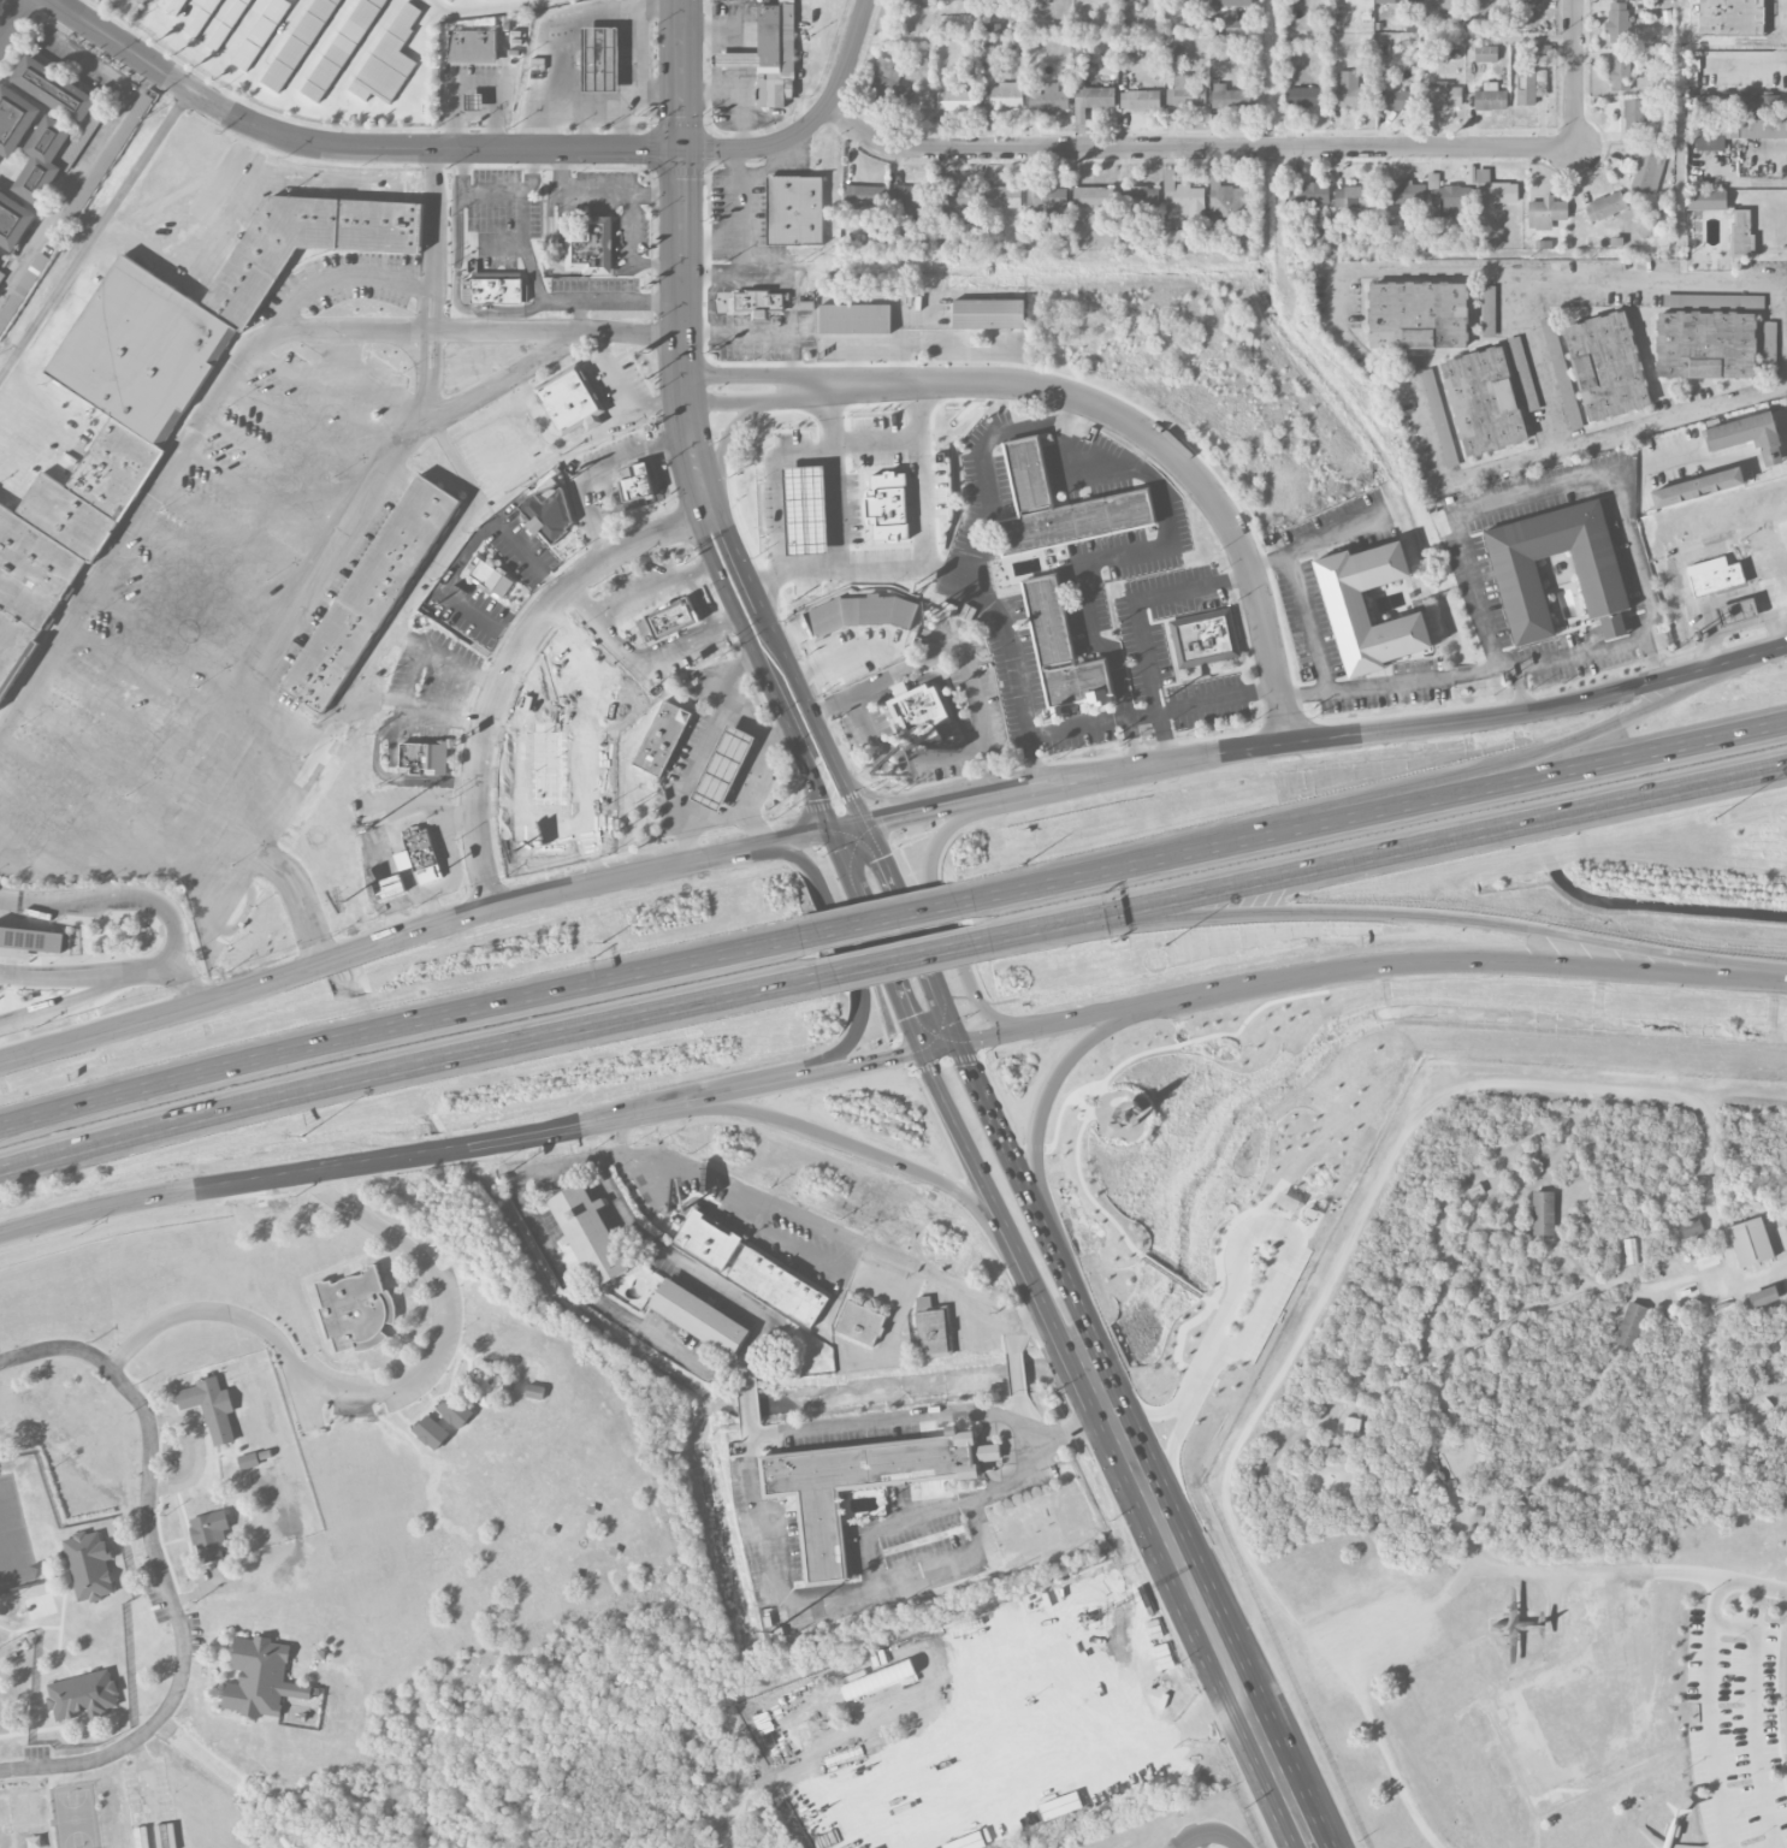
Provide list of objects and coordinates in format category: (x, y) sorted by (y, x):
building: (449, 0)
building: (942, 0)
building: (1395, 1)
building: (1531, 1)
building: (1231, 2)
building: (921, 4)
building: (178, 7)
road: (485, 7)
road: (154, 14)
building: (1732, 17)
building: (203, 18)
road: (13, 20)
building: (1617, 23)
building: (229, 25)
road: (61, 26)
building: (260, 34)
road: (138, 41)
building: (300, 45)
road: (575, 45)
building: (473, 46)
building: (342, 48)
building: (1174, 52)
building: (1486, 54)
building: (769, 55)
road: (426, 58)
road: (627, 58)
building: (600, 59)
building: (389, 60)
building: (1620, 71)
road: (681, 75)
road: (1574, 75)
building: (890, 84)
road: (478, 85)
building: (1527, 87)
building: (1350, 91)
building: (1185, 94)
building: (1442, 95)
building: (1002, 96)
building: (1304, 97)
building: (1490, 97)
building: (1230, 99)
building: (957, 100)
building: (1048, 100)
building: (1140, 100)
building: (1396, 100)
building: (474, 101)
building: (1091, 101)
road: (290, 103)
building: (1739, 105)
road: (627, 106)
building: (14, 119)
building: (1635, 119)
road: (810, 122)
road: (545, 124)
building: (52, 125)
road: (627, 128)
building: (1755, 129)
road: (103, 138)
building: (1710, 143)
road: (344, 146)
road: (1194, 149)
traffic signals: (681, 150)
road: (771, 166)
building: (1649, 171)
road: (1747, 185)
building: (1496, 190)
road: (471, 192)
building: (1404, 192)
building: (863, 195)
building: (1307, 195)
building: (960, 196)
building: (1093, 196)
building: (1005, 197)
building: (1051, 197)
building: (1138, 197)
building: (1355, 197)
building: (909, 199)
building: (1184, 200)
building: (1706, 200)
building: (1226, 202)
building: (1605, 207)
building: (793, 211)
building: (1546, 213)
building: (13, 221)
road: (734, 221)
road: (95, 233)
building: (1742, 235)
building: (1173, 237)
road: (201, 238)
road: (523, 243)
building: (591, 247)
building: (0, 254)
building: (0, 274)
road: (1786, 286)
building: (493, 290)
road: (615, 301)
building: (756, 302)
building: (1489, 312)
building: (986, 315)
building: (1418, 315)
building: (852, 320)
road: (474, 330)
building: (1709, 340)
road: (1539, 365)
building: (1606, 366)
building: (1523, 374)
road: (762, 375)
road: (1387, 377)
road: (496, 383)
building: (158, 384)
road: (219, 397)
building: (569, 397)
road: (764, 401)
building: (1484, 401)
building: (1439, 417)
road: (1051, 431)
building: (1748, 434)
road: (884, 436)
road: (692, 444)
road: (722, 445)
road: (1162, 445)
road: (1786, 449)
road: (594, 467)
building: (859, 478)
road: (930, 479)
building: (635, 481)
building: (1697, 487)
road: (1539, 491)
building: (1122, 500)
road: (846, 505)
building: (817, 509)
building: (543, 521)
road: (1310, 543)
road: (786, 545)
road: (517, 549)
road: (1770, 571)
building: (1714, 575)
building: (490, 577)
road: (323, 580)
road: (669, 582)
building: (1602, 585)
building: (371, 593)
road: (771, 596)
road: (700, 602)
building: (1344, 602)
road: (1706, 604)
road: (587, 605)
building: (857, 612)
building: (1736, 612)
gas station: (1736, 612)
building: (670, 618)
road: (1307, 622)
road: (1137, 624)
road: (703, 635)
road: (386, 639)
building: (1203, 639)
road: (617, 648)
road: (952, 650)
building: (1057, 650)
road: (1581, 656)
road: (833, 657)
road: (510, 658)
road: (1752, 658)
road: (211, 663)
road: (739, 663)
road: (1653, 664)
road: (413, 674)
road: (1718, 674)
road: (1444, 676)
road: (538, 692)
road: (1304, 694)
road: (1203, 701)
building: (916, 710)
road: (520, 719)
road: (1078, 727)
road: (781, 730)
road: (1383, 736)
road: (590, 738)
building: (664, 738)
road: (705, 744)
road: (1132, 744)
road: (107, 747)
building: (419, 756)
building: (544, 760)
road: (838, 768)
building: (723, 769)
gas station: (723, 769)
road: (1478, 770)
road: (810, 775)
road: (994, 775)
road: (386, 776)
road: (986, 796)
road: (747, 799)
road: (881, 799)
traffic signals: (819, 800)
road: (1379, 811)
road: (897, 816)
building: (534, 819)
traffic signals: (882, 819)
road: (556, 823)
road: (715, 824)
road: (848, 827)
road: (786, 840)
road: (1443, 841)
building: (421, 849)
traffic signals: (882, 859)
road: (193, 861)
building: (389, 887)
road: (123, 900)
road: (937, 905)
road: (474, 910)
road: (889, 918)
road: (1444, 922)
road: (1051, 925)
road: (912, 932)
building: (32, 938)
road: (876, 940)
road: (909, 956)
road: (848, 962)
road: (1418, 962)
road: (75, 976)
road: (182, 981)
road: (76, 1000)
traffic signals: (909, 1018)
road: (401, 1020)
road: (107, 1030)
road: (1006, 1032)
road: (940, 1047)
traffic signals: (898, 1056)
traffic signals: (969, 1065)
road: (846, 1066)
road: (406, 1068)
road: (1061, 1078)
road: (708, 1096)
road: (555, 1127)
road: (854, 1147)
road: (437, 1148)
road: (513, 1153)
road: (975, 1160)
road: (708, 1183)
road: (202, 1185)
building: (1544, 1214)
road: (809, 1219)
building: (1786, 1222)
building: (1691, 1227)
building: (588, 1234)
building: (1781, 1237)
building: (708, 1240)
building: (1750, 1242)
road: (764, 1249)
building: (1631, 1251)
building: (1706, 1261)
road: (686, 1267)
road: (1765, 1272)
building: (1785, 1283)
building: (780, 1285)
building: (1686, 1292)
building: (1763, 1297)
road: (602, 1302)
building: (1722, 1305)
building: (355, 1310)
building: (699, 1317)
road: (1028, 1320)
building: (860, 1322)
building: (1631, 1325)
building: (931, 1328)
road: (1016, 1363)
building: (534, 1392)
road: (374, 1393)
road: (1017, 1404)
building: (211, 1408)
building: (1761, 1410)
building: (455, 1411)
building: (1351, 1424)
building: (431, 1432)
road: (1146, 1445)
building: (248, 1461)
building: (1329, 1474)
building: (854, 1486)
building: (1327, 1487)
road: (755, 1495)
road: (890, 1524)
building: (209, 1535)
park: (13, 1539)
road: (1158, 1559)
building: (89, 1565)
road: (161, 1568)
road: (1705, 1576)
road: (205, 1592)
road: (1716, 1601)
building: (260, 1678)
building: (83, 1695)
road: (1752, 1723)
parking lot: (1736, 1729)
road: (1150, 1735)
road: (1711, 1737)
road: (147, 1794)
park: (73, 1817)
park: (6, 1823)
road: (1229, 1836)
road: (1197, 1840)
building: (35, 1842)

